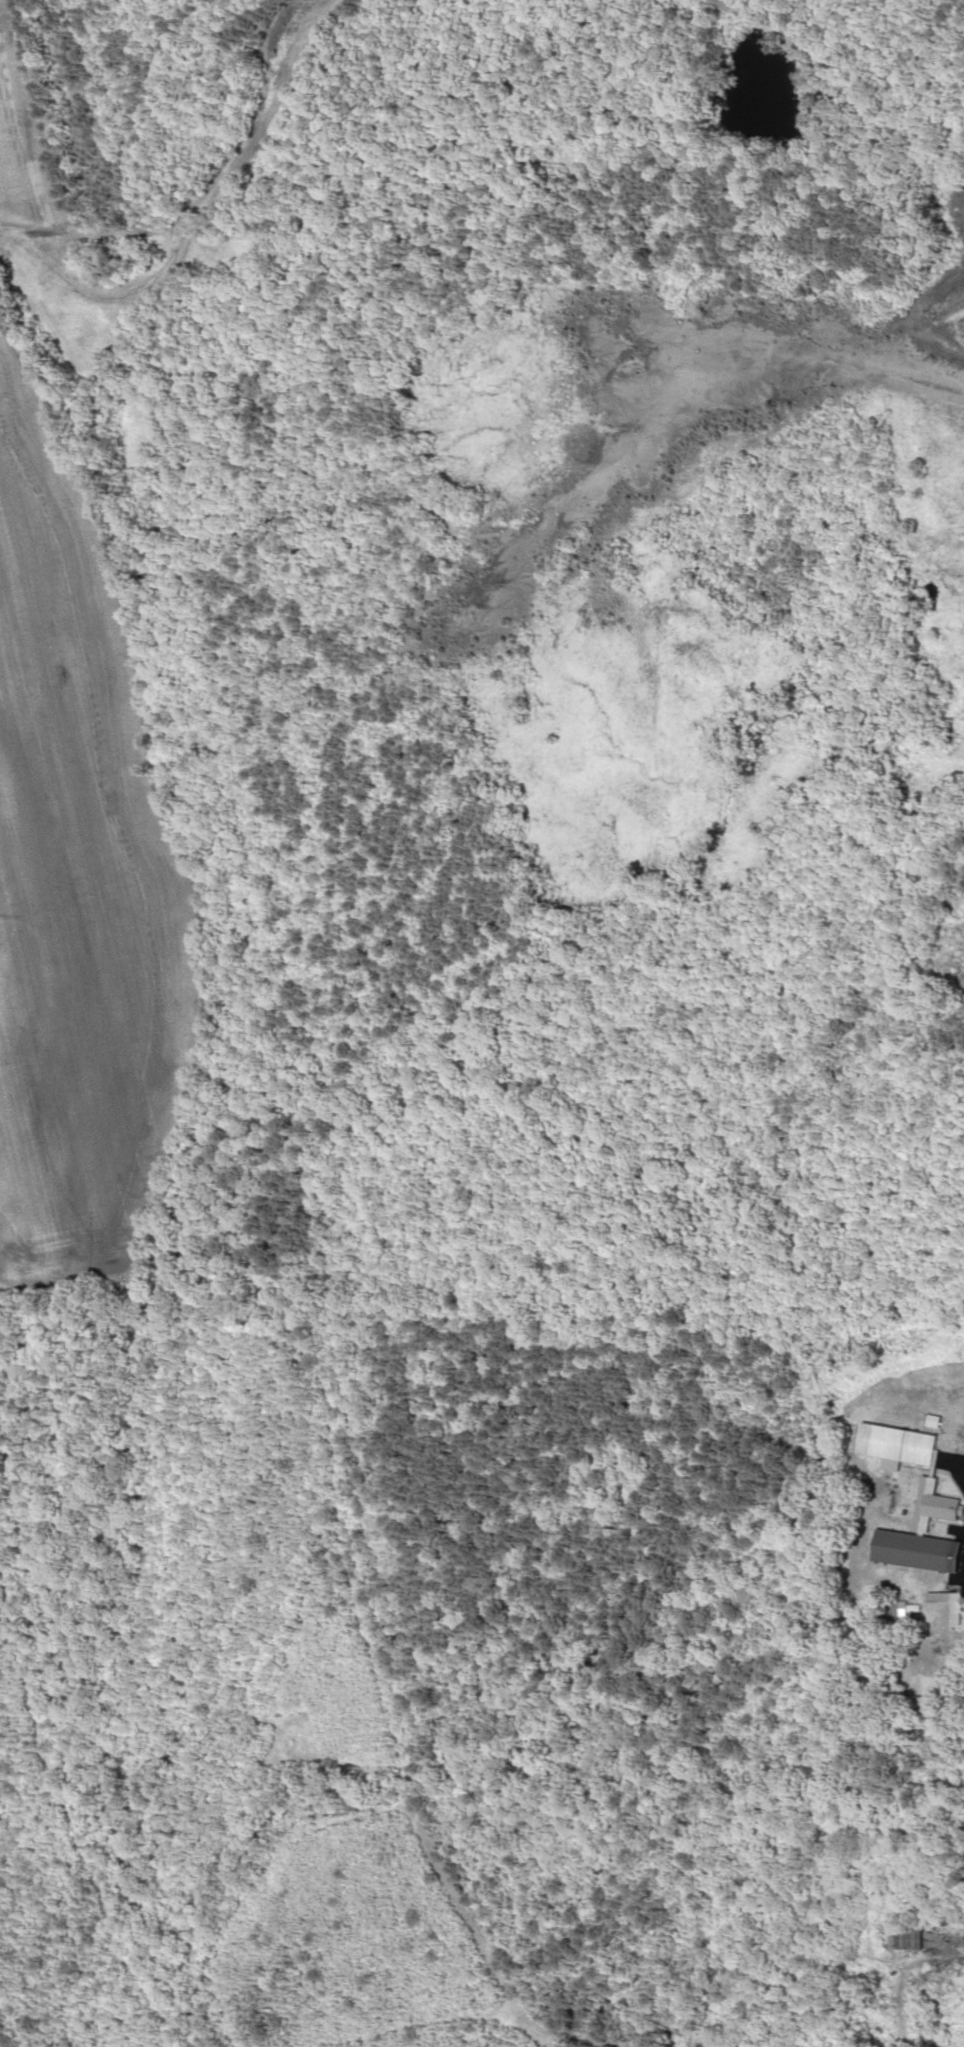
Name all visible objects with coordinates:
road: (954, 70)
building: (904, 1443)
building: (928, 1533)
building: (951, 1606)
building: (902, 1863)
road: (818, 1892)
building: (920, 1938)

